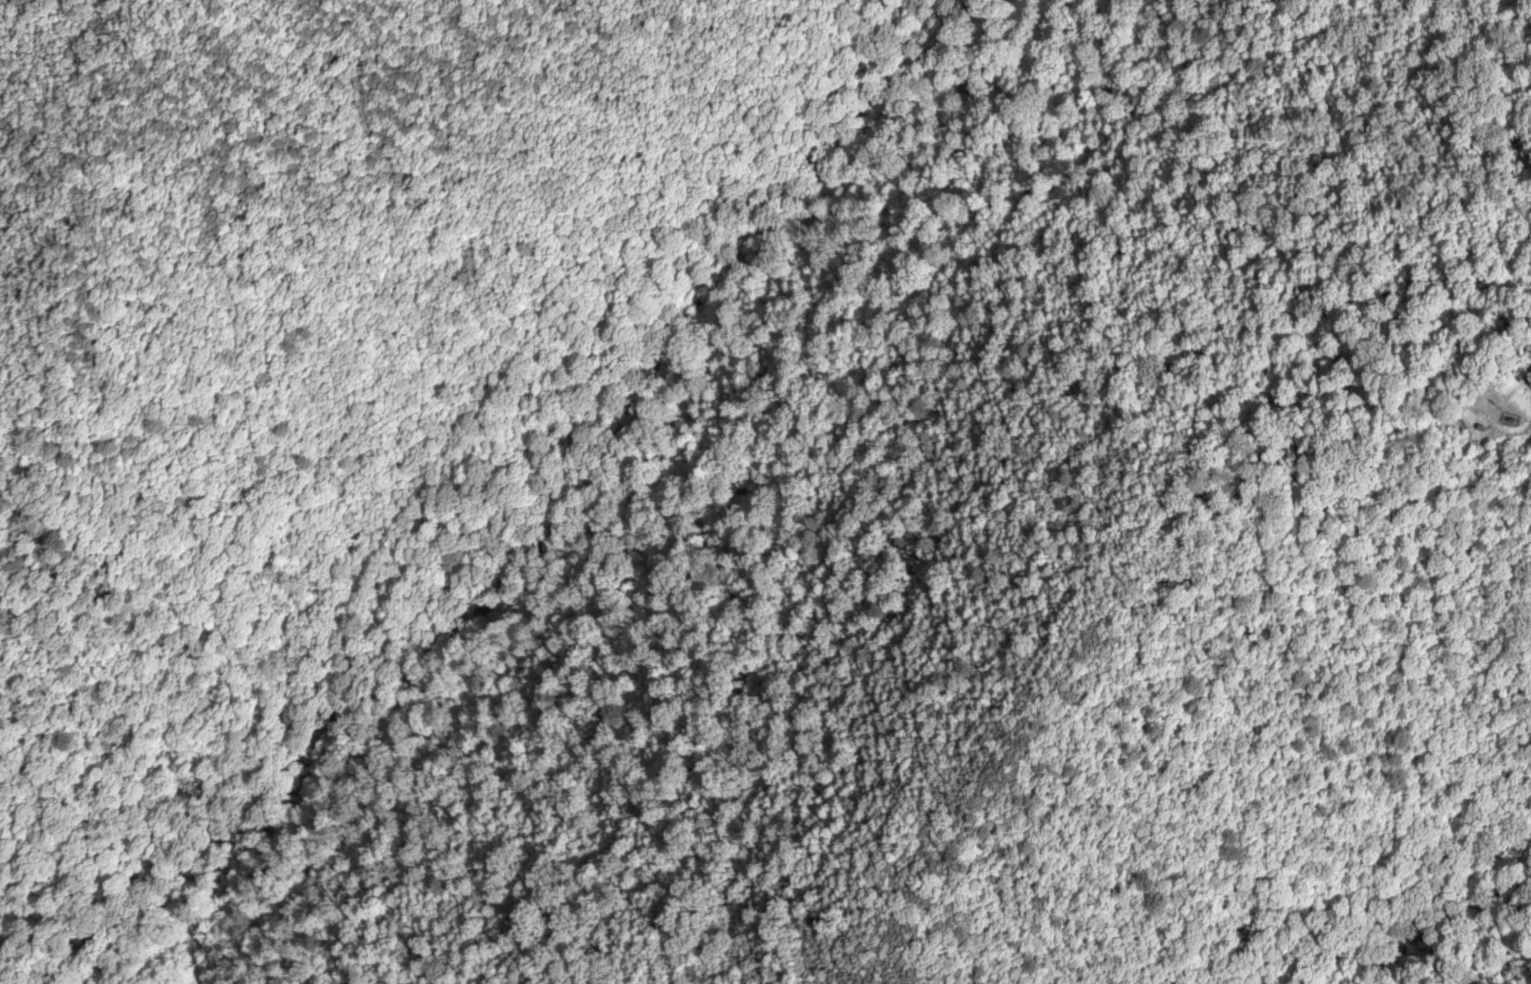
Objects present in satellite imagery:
road: (1522, 381)

